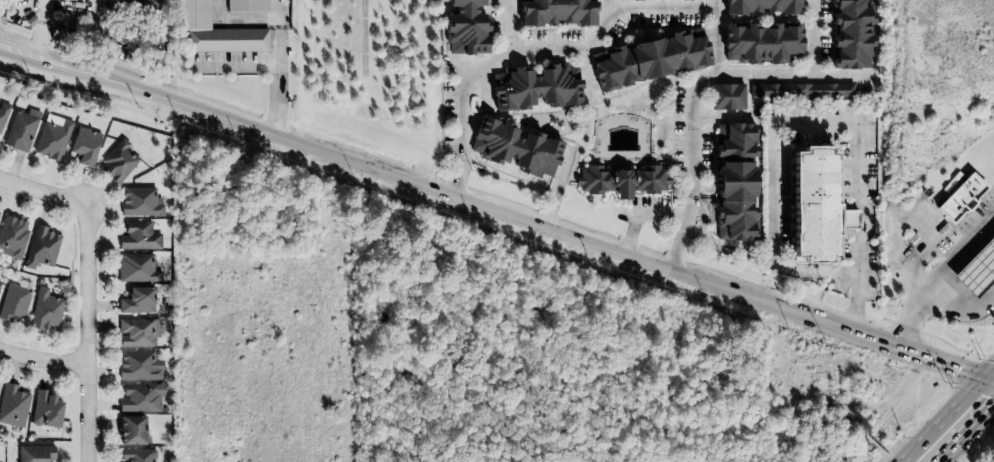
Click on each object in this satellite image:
building: (636, 0)
building: (673, 0)
building: (138, 5)
building: (245, 6)
road: (611, 6)
building: (762, 7)
road: (276, 9)
building: (556, 13)
road: (242, 18)
road: (279, 22)
building: (464, 27)
road: (42, 28)
road: (504, 28)
building: (214, 31)
building: (850, 35)
road: (814, 36)
building: (760, 44)
road: (18, 50)
road: (535, 50)
building: (649, 60)
road: (238, 64)
road: (788, 73)
road: (277, 79)
building: (534, 88)
building: (800, 91)
building: (727, 96)
building: (3, 112)
building: (21, 130)
road: (691, 130)
building: (52, 137)
road: (860, 137)
building: (84, 145)
building: (515, 147)
building: (117, 161)
building: (622, 180)
building: (733, 180)
road: (43, 191)
road: (446, 192)
building: (961, 193)
building: (139, 202)
building: (814, 209)
building: (12, 236)
building: (138, 236)
building: (42, 247)
road: (959, 248)
building: (977, 265)
gas station: (977, 265)
building: (137, 268)
road: (798, 270)
building: (0, 280)
road: (936, 289)
building: (136, 300)
building: (14, 302)
building: (45, 310)
road: (87, 332)
building: (138, 332)
road: (920, 354)
road: (43, 360)
building: (138, 365)
road: (990, 371)
traffic signals: (986, 376)
road: (990, 377)
building: (140, 397)
building: (12, 406)
building: (44, 409)
road: (943, 419)
building: (132, 430)
road: (967, 434)
building: (35, 453)
building: (136, 455)

